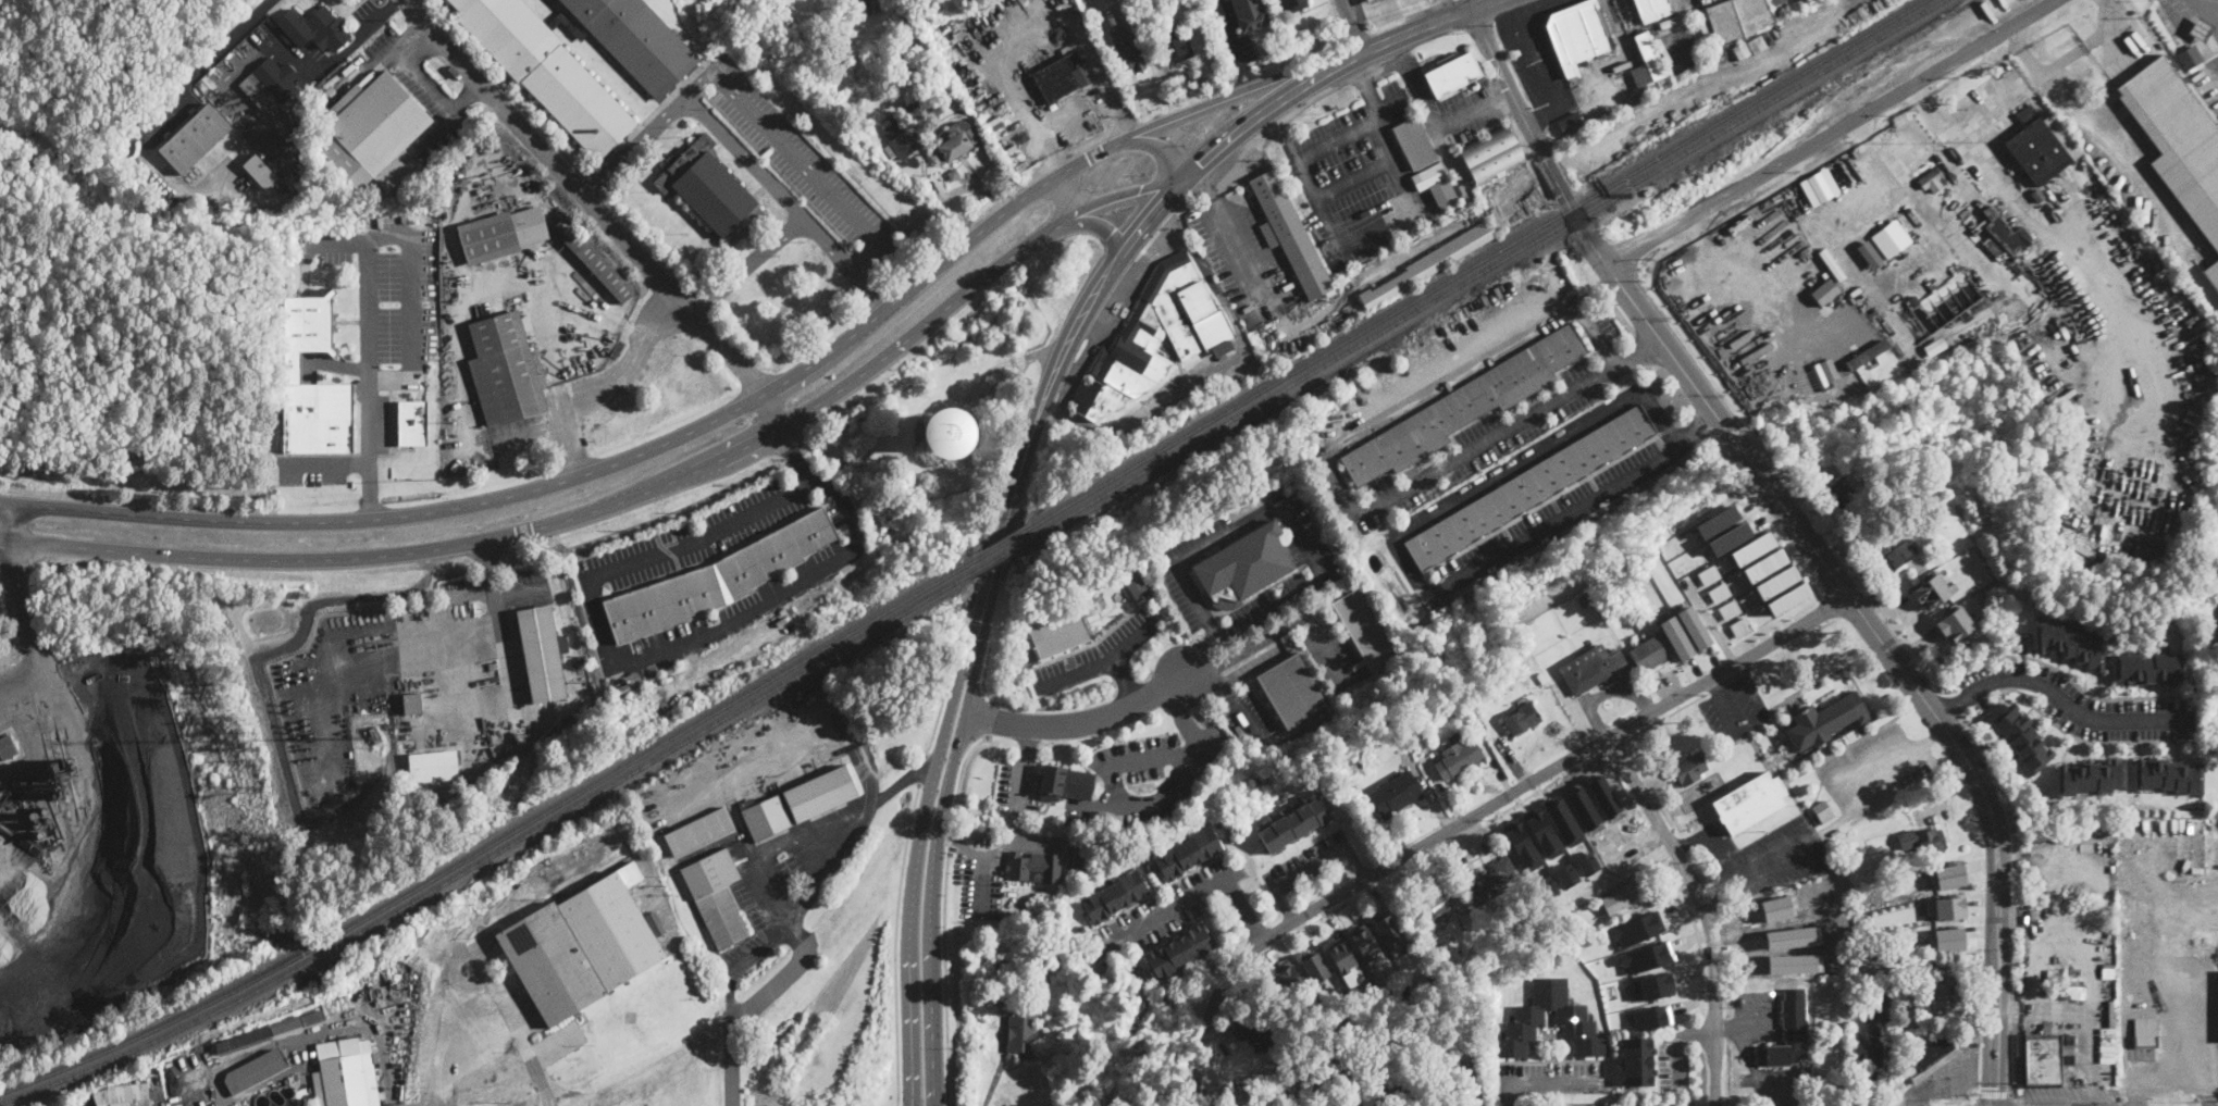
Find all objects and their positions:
building: (1373, 1)
building: (1292, 3)
road: (915, 7)
building: (856, 8)
building: (1781, 8)
building: (1625, 9)
building: (1652, 10)
building: (1250, 14)
building: (1738, 18)
road: (1425, 23)
road: (1353, 25)
building: (942, 26)
building: (781, 27)
building: (314, 28)
building: (505, 29)
road: (1027, 34)
building: (1578, 34)
building: (797, 38)
parking lot: (1799, 39)
building: (635, 40)
road: (1789, 40)
road: (2086, 42)
building: (1174, 44)
building: (1757, 44)
building: (1128, 45)
road: (1232, 45)
building: (2208, 47)
parking lot: (1532, 48)
building: (1740, 49)
building: (2190, 57)
road: (1539, 66)
building: (1649, 67)
road: (322, 71)
building: (1062, 75)
building: (1452, 75)
road: (1238, 77)
building: (921, 78)
building: (271, 82)
road: (428, 83)
building: (1572, 83)
road: (503, 86)
road: (1411, 87)
building: (579, 103)
parking lot: (1452, 105)
building: (938, 111)
road: (1266, 112)
road: (1473, 113)
building: (300, 122)
road: (768, 122)
road: (161, 124)
building: (1570, 124)
road: (1832, 133)
building: (375, 134)
building: (196, 137)
building: (900, 137)
building: (2178, 139)
road: (1535, 140)
building: (954, 141)
road: (2097, 141)
building: (1414, 142)
road: (1155, 146)
building: (2042, 146)
building: (271, 147)
building: (1492, 156)
building: (893, 157)
parking lot: (800, 159)
traffic signals: (1201, 164)
building: (260, 171)
building: (282, 171)
building: (954, 173)
building: (1428, 175)
road: (1354, 176)
parking lot: (1354, 178)
road: (591, 183)
building: (1935, 183)
building: (1819, 186)
building: (940, 187)
building: (710, 190)
traffic signals: (1141, 191)
road: (1067, 194)
building: (1446, 196)
building: (2037, 196)
traffic signals: (1165, 201)
road: (794, 208)
road: (598, 209)
road: (1088, 225)
road: (1368, 231)
building: (2007, 232)
building: (500, 234)
building: (1289, 234)
building: (1892, 237)
road: (826, 241)
road: (647, 244)
building: (1869, 253)
parking lot: (1244, 260)
building: (594, 261)
building: (1429, 264)
railway: (1471, 264)
building: (1335, 265)
road: (1132, 270)
railway: (1478, 270)
road: (1257, 273)
building: (2213, 274)
road: (413, 276)
building: (1913, 299)
road: (704, 305)
road: (1872, 306)
road: (1576, 308)
parking lot: (388, 310)
road: (1616, 310)
building: (1155, 336)
road: (733, 337)
road: (1093, 338)
road: (1638, 351)
building: (1869, 353)
building: (289, 369)
building: (505, 371)
road: (1200, 375)
road: (368, 378)
road: (609, 387)
road: (1044, 398)
building: (1464, 407)
road: (723, 415)
building: (409, 422)
road: (1699, 427)
building: (946, 432)
water tower: (946, 432)
road: (326, 463)
parking lot: (313, 469)
building: (1529, 486)
building: (1842, 497)
road: (630, 498)
road: (1284, 506)
parking lot: (1554, 514)
building: (1718, 521)
road: (9, 523)
building: (1730, 537)
building: (1919, 537)
parking lot: (690, 538)
road: (1393, 538)
building: (2215, 544)
railway: (1000, 545)
building: (1752, 548)
building: (2148, 548)
building: (1891, 555)
railway: (998, 558)
building: (1244, 564)
building: (1764, 564)
building: (1708, 574)
building: (717, 579)
building: (1777, 581)
building: (1137, 585)
building: (1933, 591)
building: (1719, 592)
building: (1093, 593)
building: (1788, 597)
building: (1583, 600)
building: (1728, 608)
parking lot: (735, 620)
road: (24, 622)
building: (1954, 622)
building: (1740, 625)
building: (1365, 626)
building: (1695, 626)
building: (1057, 633)
building: (1677, 637)
building: (2069, 644)
road: (1250, 647)
road: (1328, 649)
road: (505, 653)
road: (650, 653)
building: (541, 654)
parking lot: (1096, 654)
road: (1199, 654)
building: (1648, 655)
road: (1892, 656)
road: (1100, 660)
building: (2147, 668)
building: (1590, 669)
road: (1204, 675)
road: (1123, 679)
building: (1291, 692)
road: (2058, 694)
building: (411, 704)
parking lot: (2081, 704)
road: (1025, 706)
parking lot: (1734, 707)
road: (1240, 710)
road: (1182, 712)
road: (937, 714)
road: (990, 718)
parking lot: (1249, 718)
building: (1520, 719)
road: (1079, 720)
building: (1825, 721)
road: (1749, 724)
building: (375, 735)
building: (2022, 736)
road: (1934, 737)
road: (1029, 745)
building: (7, 747)
building: (372, 758)
building: (1458, 759)
building: (433, 766)
building: (1690, 768)
road: (922, 769)
parking lot: (1154, 773)
building: (2168, 774)
building: (2091, 776)
building: (1065, 784)
road: (1861, 785)
parking lot: (1015, 788)
building: (820, 794)
building: (1397, 795)
road: (944, 797)
road: (1115, 800)
road: (1018, 803)
building: (1749, 803)
building: (1823, 812)
building: (764, 816)
road: (1474, 817)
building: (1099, 819)
building: (1563, 821)
building: (1216, 823)
building: (1293, 824)
building: (702, 829)
building: (1542, 832)
railway: (496, 838)
road: (1813, 840)
building: (1095, 841)
building: (1924, 842)
road: (1694, 843)
road: (963, 844)
building: (1522, 844)
railway: (495, 850)
building: (1186, 853)
parking lot: (1772, 856)
road: (1724, 857)
building: (1587, 861)
building: (1080, 863)
road: (1356, 863)
building: (1034, 868)
building: (1147, 868)
road: (1311, 869)
road: (915, 870)
road: (983, 871)
building: (1566, 874)
building: (1945, 874)
parking lot: (979, 879)
road: (1614, 879)
building: (1491, 882)
building: (1547, 886)
road: (1719, 890)
road: (1197, 895)
building: (716, 896)
building: (1114, 896)
building: (1623, 897)
building: (1804, 898)
building: (1436, 905)
building: (1944, 905)
road: (1284, 906)
parking lot: (1167, 908)
road: (1702, 910)
road: (943, 915)
road: (798, 919)
building: (1469, 920)
building: (1636, 929)
building: (1388, 930)
building: (1771, 937)
building: (1944, 937)
building: (1364, 941)
road: (894, 943)
building: (582, 945)
building: (1179, 952)
building: (1341, 955)
building: (1648, 956)
road: (1701, 957)
building: (1872, 965)
building: (1315, 967)
building: (1001, 970)
building: (1290, 979)
building: (1055, 985)
building: (1655, 985)
building: (2056, 991)
road: (485, 993)
building: (1943, 995)
building: (2067, 995)
building: (2107, 1007)
building: (1528, 1015)
building: (313, 1016)
building: (1650, 1017)
building: (1909, 1020)
building: (1373, 1021)
building: (2107, 1022)
building: (286, 1024)
building: (2046, 1029)
building: (2144, 1029)
road: (932, 1030)
road: (1698, 1031)
building: (1788, 1031)
building: (1254, 1032)
building: (1024, 1035)
building: (2069, 1037)
building: (244, 1041)
building: (1869, 1047)
building: (1931, 1058)
building: (2069, 1058)
building: (1638, 1060)
parking lot: (1672, 1060)
building: (2041, 1060)
road: (1680, 1061)
building: (1457, 1066)
building: (256, 1073)
building: (343, 1077)
building: (1387, 1077)
parking lot: (1551, 1078)
road: (992, 1080)
building: (1328, 1081)
road: (1552, 1081)
building: (1407, 1082)
traffic signals: (1994, 1086)
road: (1993, 1092)
road: (1507, 1093)
road: (2015, 1097)
parking lot: (77, 1102)
building: (198, 1102)
building: (134, 1103)
road: (1968, 1103)
road: (2025, 1103)
building: (178, 1104)

